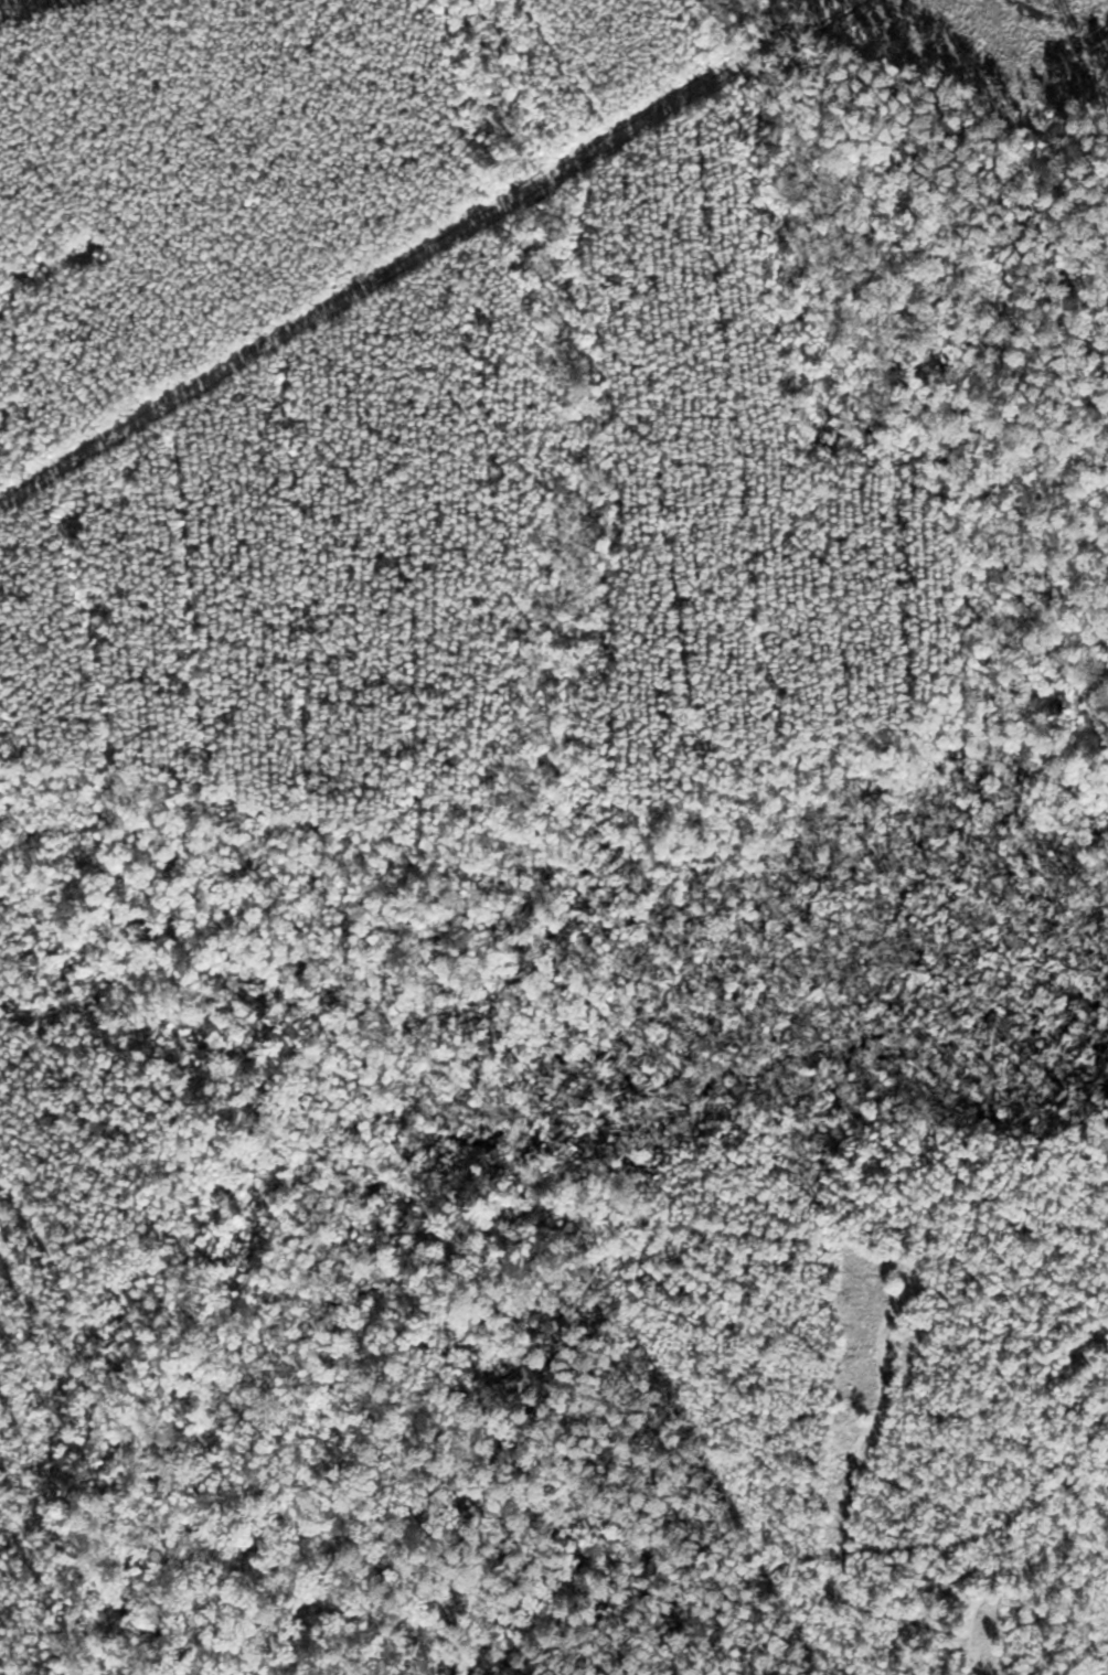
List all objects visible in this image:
road: (383, 236)

